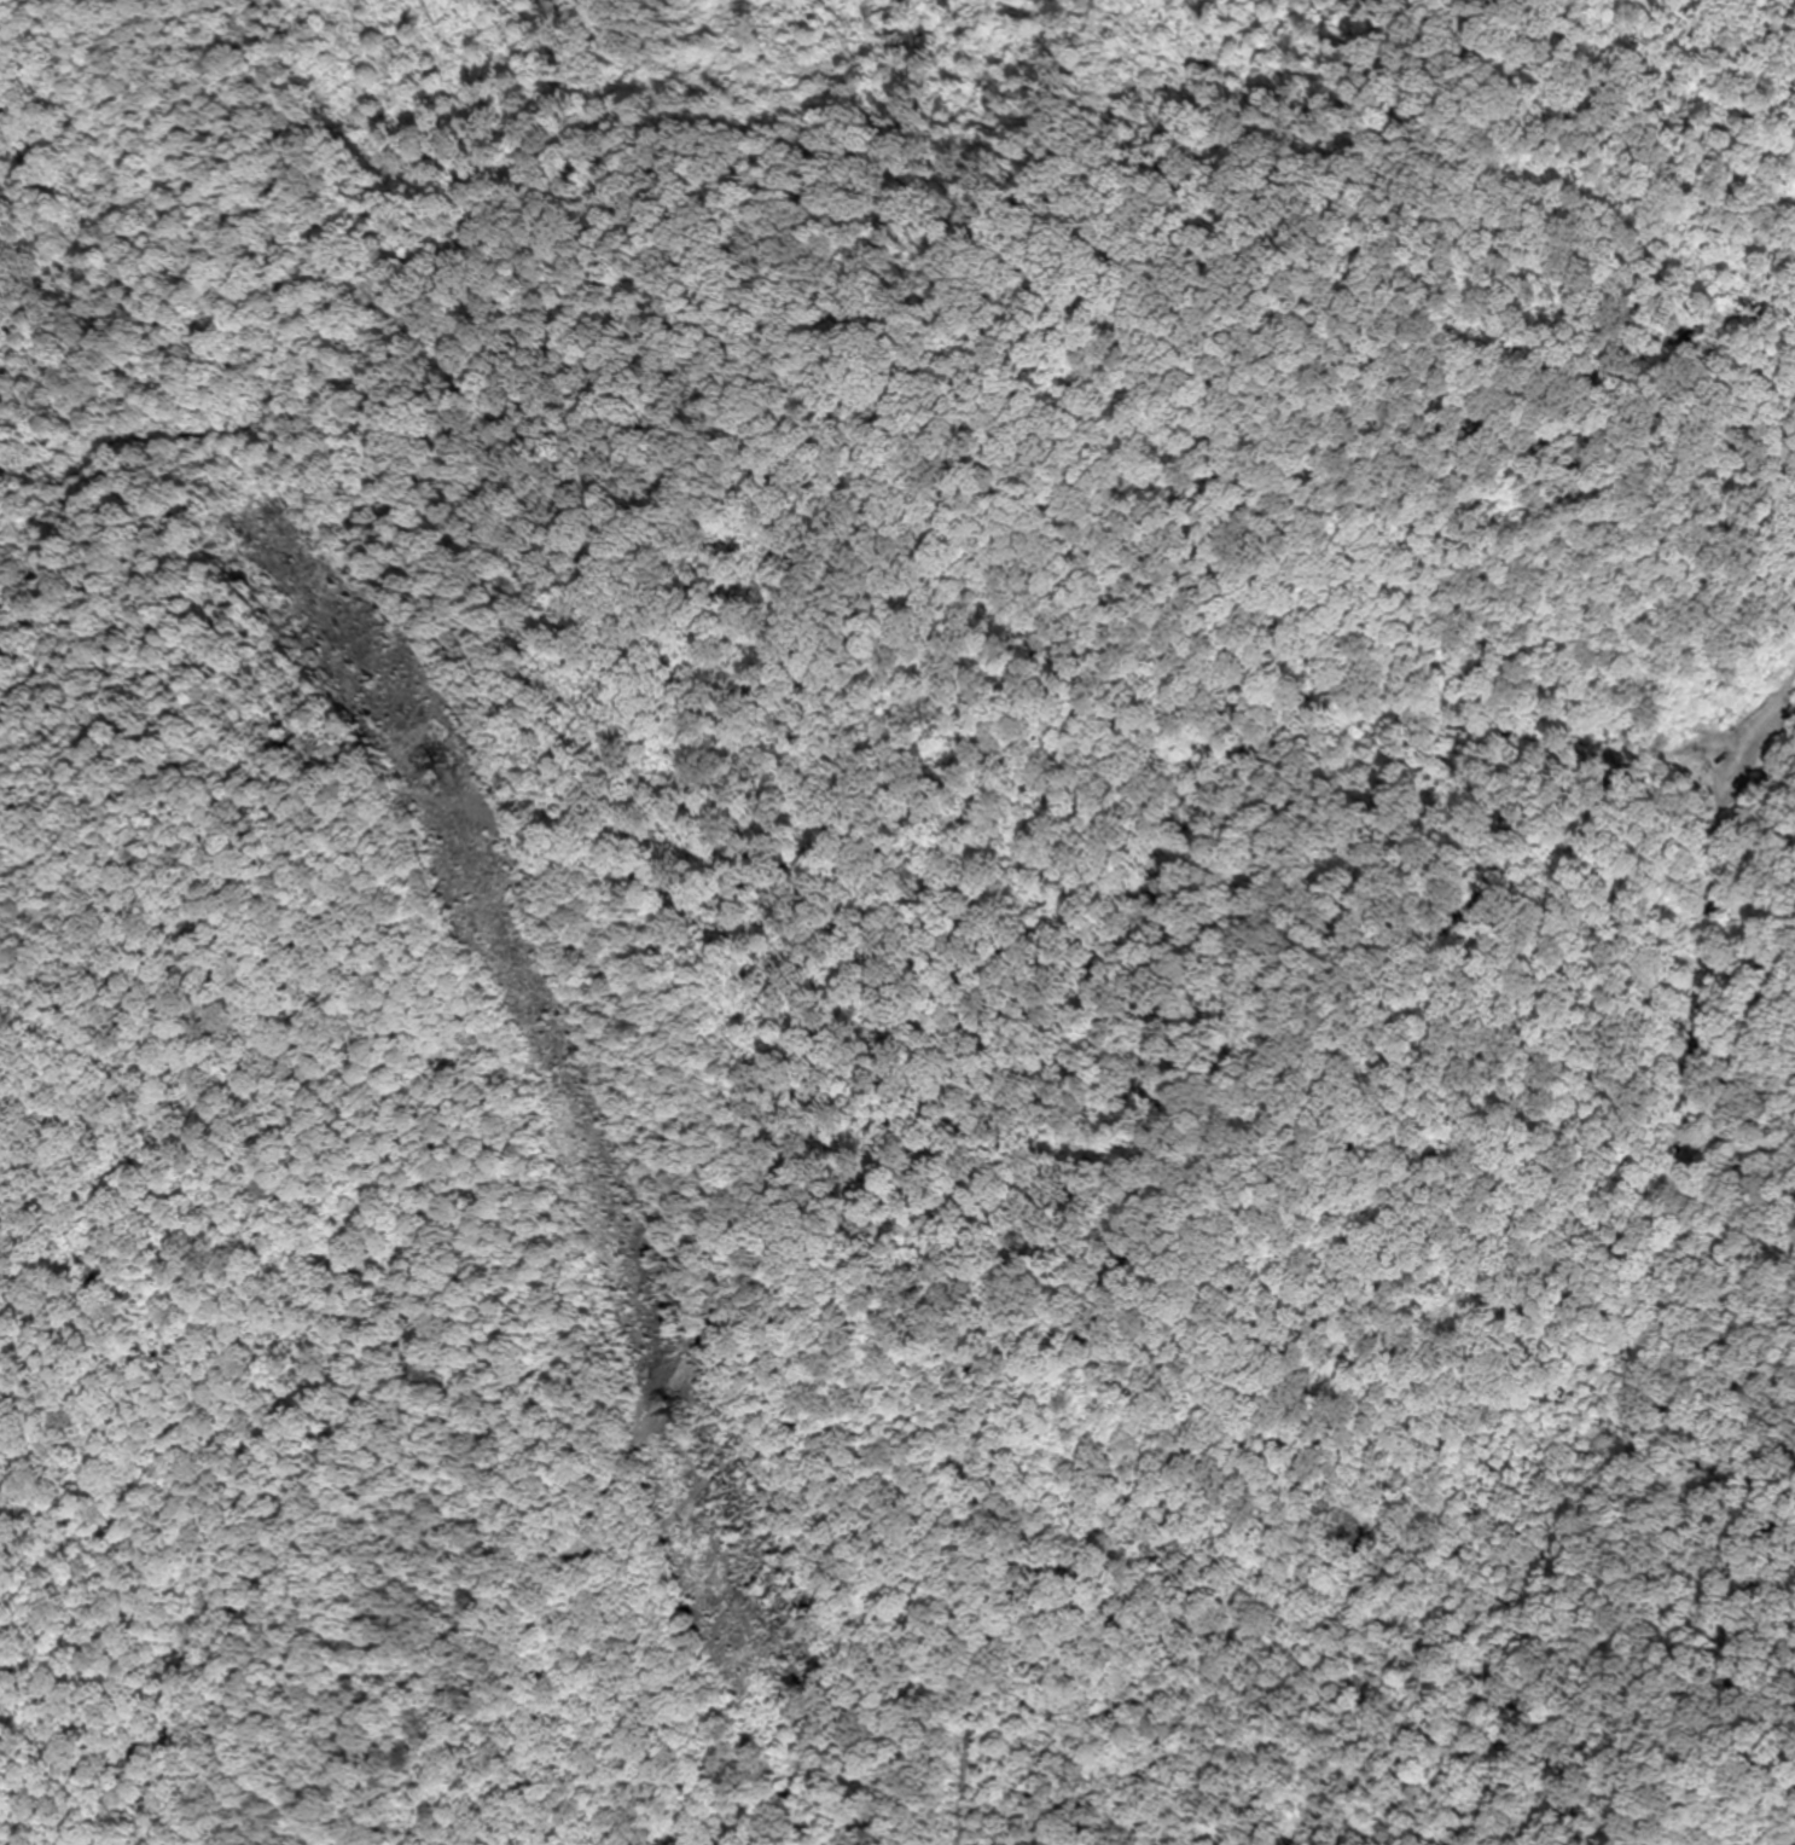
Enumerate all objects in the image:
power tower: (461, 768)
power tower: (698, 1416)

